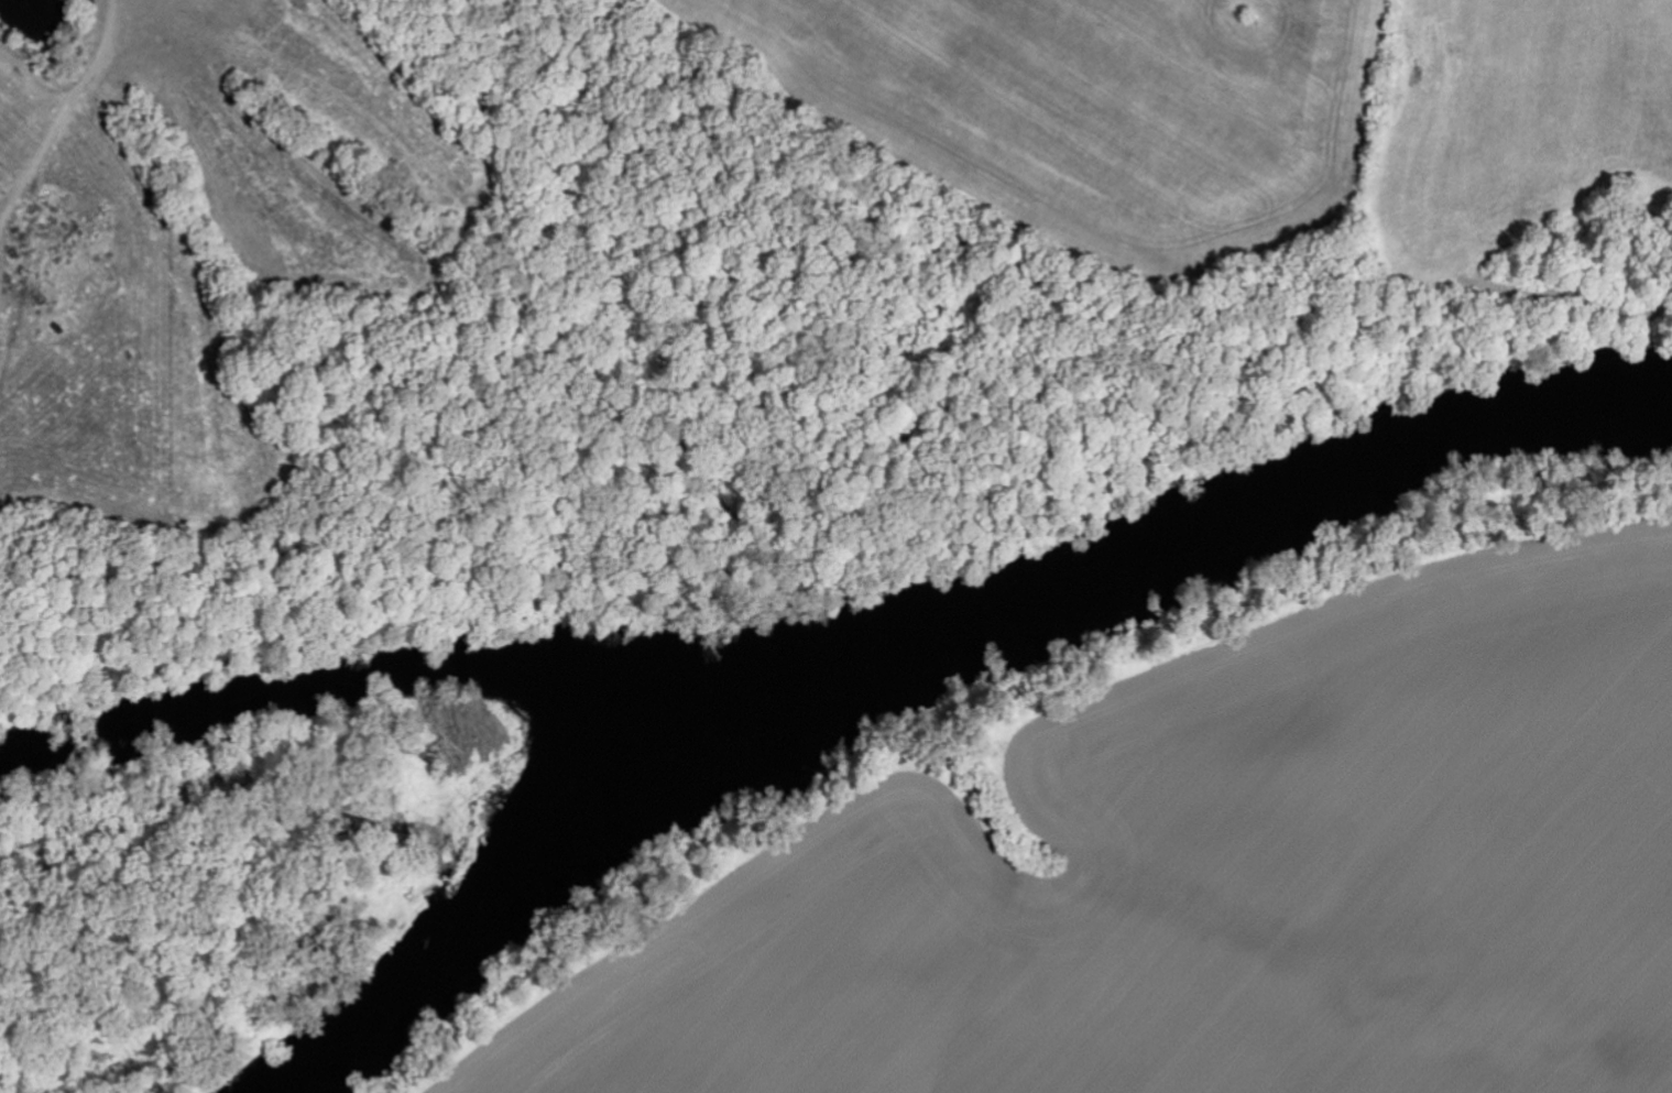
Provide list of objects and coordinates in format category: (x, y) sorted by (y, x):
river: (848, 669)

